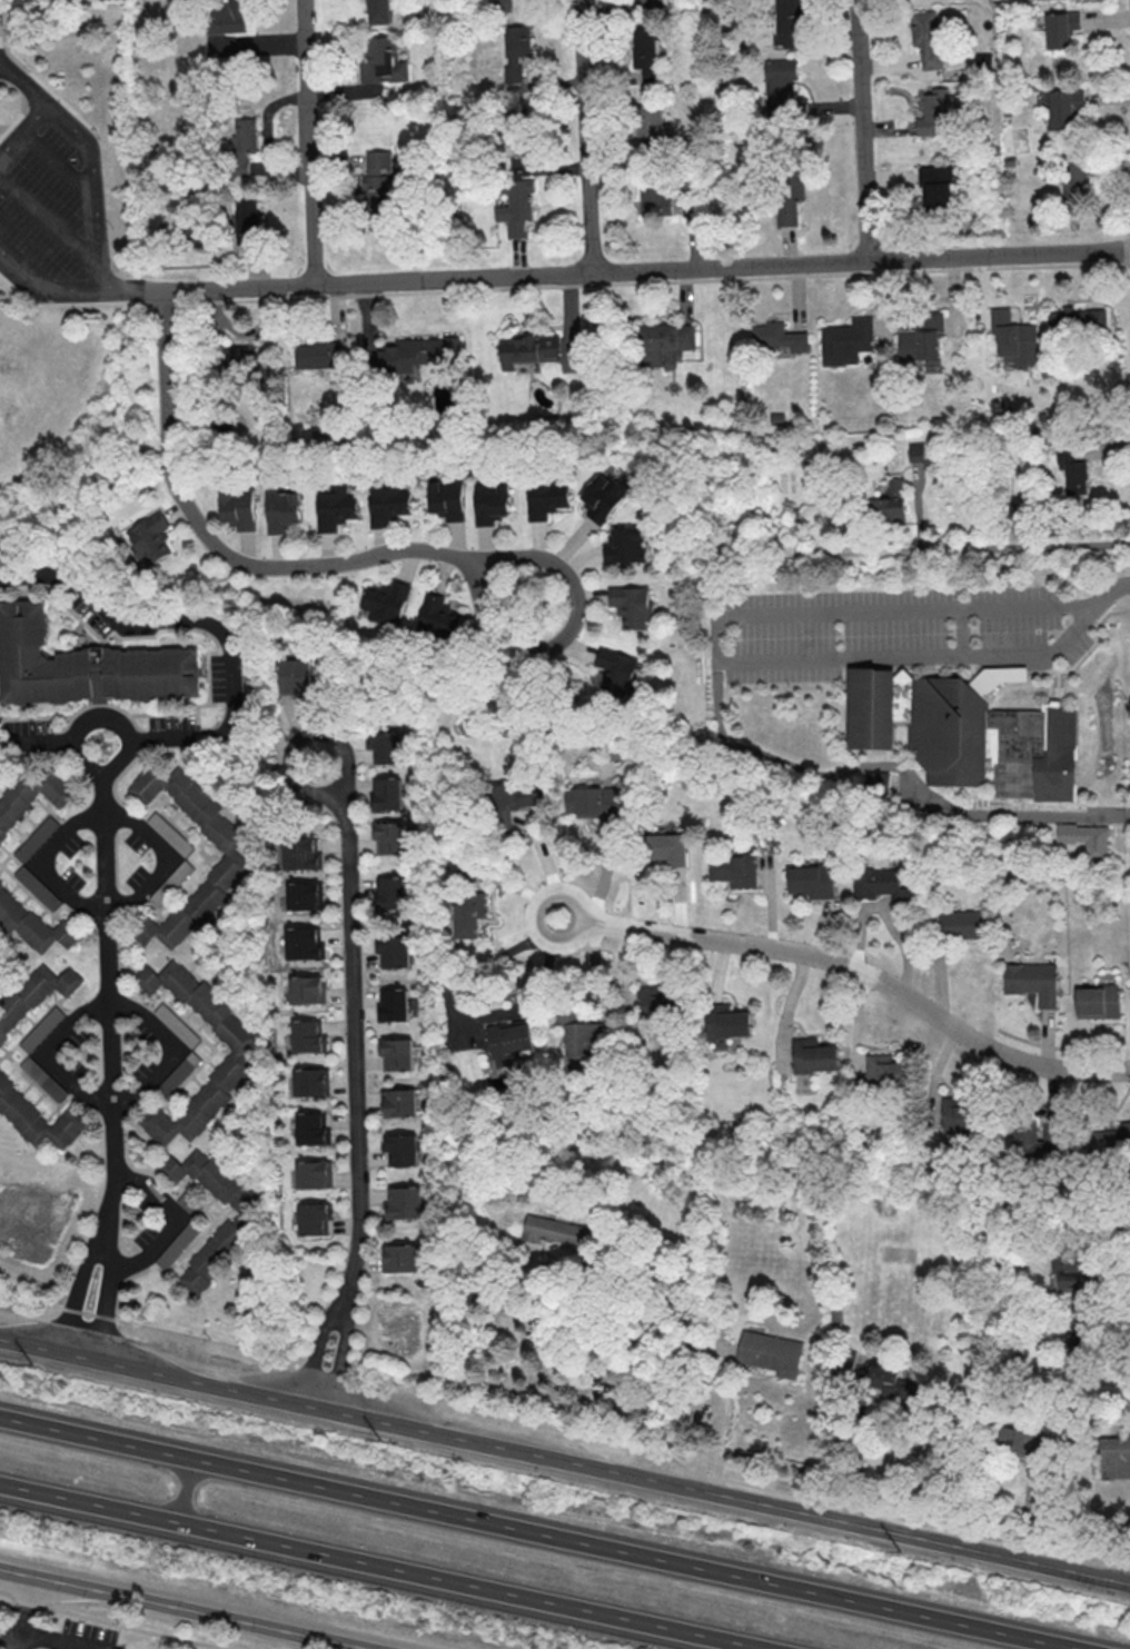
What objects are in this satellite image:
building: (645, 1)
building: (509, 2)
building: (374, 12)
building: (790, 16)
building: (1059, 28)
building: (928, 38)
road: (38, 78)
road: (26, 83)
road: (48, 91)
building: (782, 91)
road: (37, 97)
road: (23, 103)
building: (1063, 106)
building: (934, 111)
road: (18, 119)
building: (653, 123)
road: (4, 129)
road: (863, 131)
road: (587, 138)
road: (310, 142)
building: (241, 147)
road: (57, 166)
building: (1077, 175)
building: (789, 181)
building: (377, 185)
building: (934, 188)
building: (656, 195)
parking lot: (53, 206)
building: (517, 208)
building: (246, 218)
road: (49, 225)
road: (97, 250)
road: (635, 274)
road: (647, 284)
road: (78, 305)
building: (1076, 322)
building: (777, 336)
building: (1013, 337)
building: (922, 339)
building: (655, 341)
building: (839, 342)
building: (529, 348)
building: (419, 351)
building: (319, 355)
building: (235, 361)
park: (9, 383)
building: (916, 451)
building: (1073, 471)
building: (605, 496)
building: (545, 497)
building: (447, 498)
building: (492, 503)
building: (891, 503)
building: (386, 504)
building: (238, 507)
building: (334, 508)
building: (282, 509)
building: (149, 538)
building: (626, 545)
road: (1023, 547)
road: (221, 549)
road: (1112, 592)
building: (386, 602)
building: (633, 605)
building: (436, 614)
road: (204, 619)
road: (716, 649)
road: (521, 650)
building: (85, 665)
building: (296, 677)
building: (967, 734)
road: (36, 742)
building: (386, 746)
road: (891, 766)
building: (883, 783)
building: (387, 794)
building: (32, 795)
building: (516, 795)
building: (591, 802)
building: (170, 834)
building: (1086, 836)
building: (36, 837)
building: (389, 837)
building: (666, 848)
building: (231, 853)
building: (300, 853)
road: (162, 857)
road: (44, 861)
parking lot: (48, 862)
building: (734, 870)
building: (179, 875)
building: (812, 880)
building: (881, 885)
building: (37, 887)
building: (389, 892)
building: (304, 895)
building: (468, 913)
road: (107, 923)
building: (961, 923)
building: (33, 924)
building: (304, 943)
building: (393, 951)
road: (856, 965)
building: (1032, 982)
building: (308, 989)
building: (34, 995)
building: (654, 1000)
building: (1097, 1001)
building: (394, 1004)
road: (786, 1006)
road: (467, 1017)
building: (727, 1021)
building: (177, 1025)
road: (354, 1027)
building: (41, 1030)
building: (308, 1035)
building: (587, 1039)
building: (508, 1041)
road: (172, 1047)
building: (240, 1051)
road: (53, 1052)
parking lot: (54, 1053)
building: (396, 1054)
building: (814, 1055)
building: (885, 1069)
building: (179, 1073)
building: (43, 1077)
building: (310, 1082)
building: (399, 1102)
building: (959, 1114)
building: (38, 1117)
building: (313, 1128)
building: (400, 1150)
building: (315, 1174)
building: (404, 1202)
building: (315, 1219)
building: (237, 1220)
road: (171, 1222)
building: (554, 1231)
building: (400, 1258)
building: (1076, 1273)
road: (1110, 1291)
road: (76, 1293)
road: (106, 1300)
road: (318, 1348)
building: (770, 1352)
road: (344, 1353)
power tower: (21, 1360)
road: (695, 1365)
building: (886, 1378)
road: (858, 1400)
road: (567, 1424)
power tower: (326, 1428)
building: (1023, 1442)
building: (1113, 1457)
road: (564, 1461)
road: (182, 1491)
power tower: (627, 1493)
road: (543, 1533)
power tower: (933, 1559)
road: (383, 1567)
road: (28, 1591)
road: (181, 1610)
road: (111, 1621)
road: (21, 1627)
road: (9, 1638)
road: (52, 1642)

